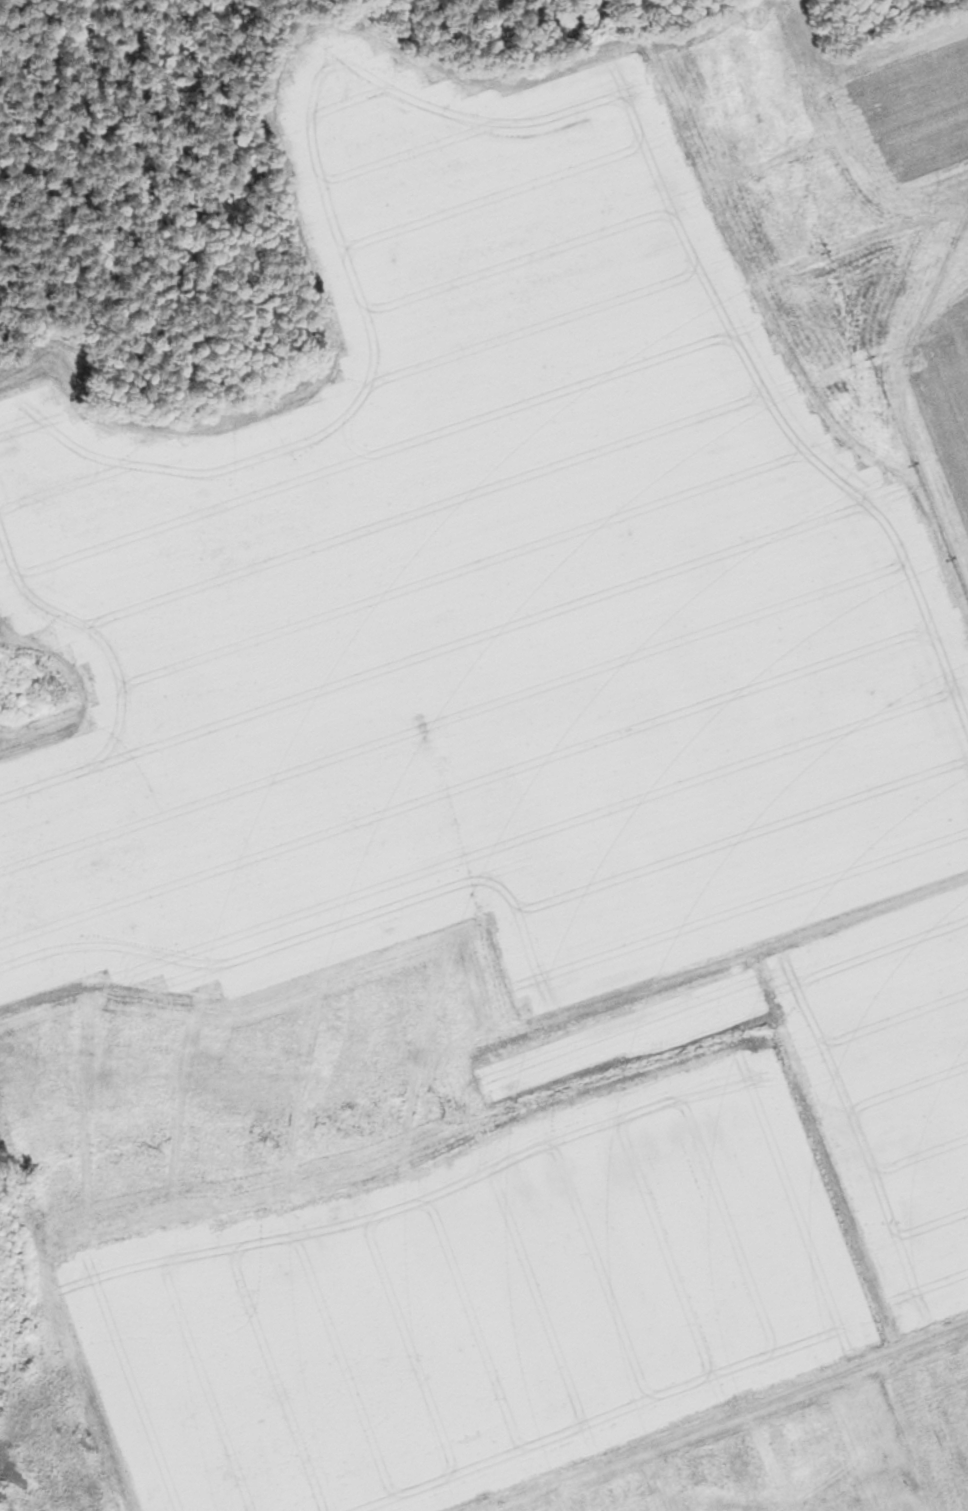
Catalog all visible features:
road: (930, 300)
road: (927, 500)

